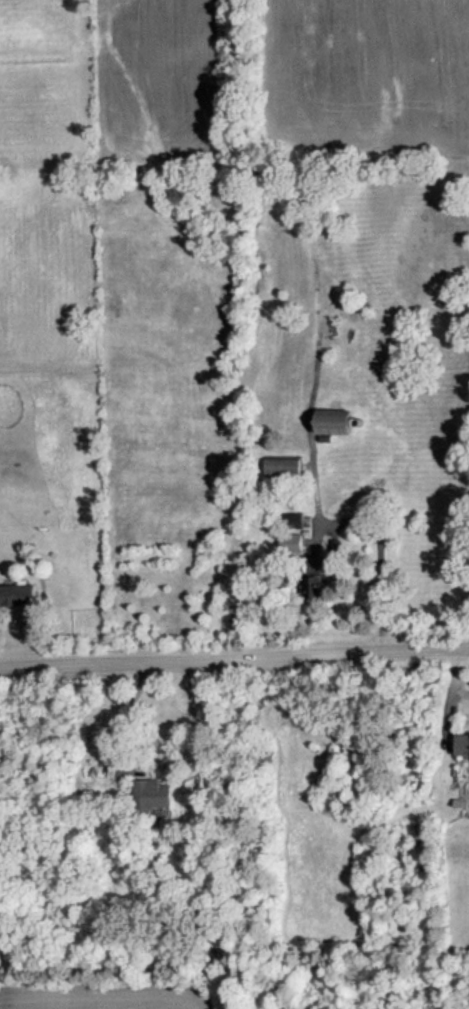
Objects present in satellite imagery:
crop: (159, 69)
crop: (370, 70)
crop: (47, 187)
building: (337, 420)
building: (285, 463)
building: (292, 541)
building: (325, 583)
building: (18, 594)
road: (234, 661)
road: (458, 677)
road: (123, 710)
building: (463, 743)
building: (150, 791)

